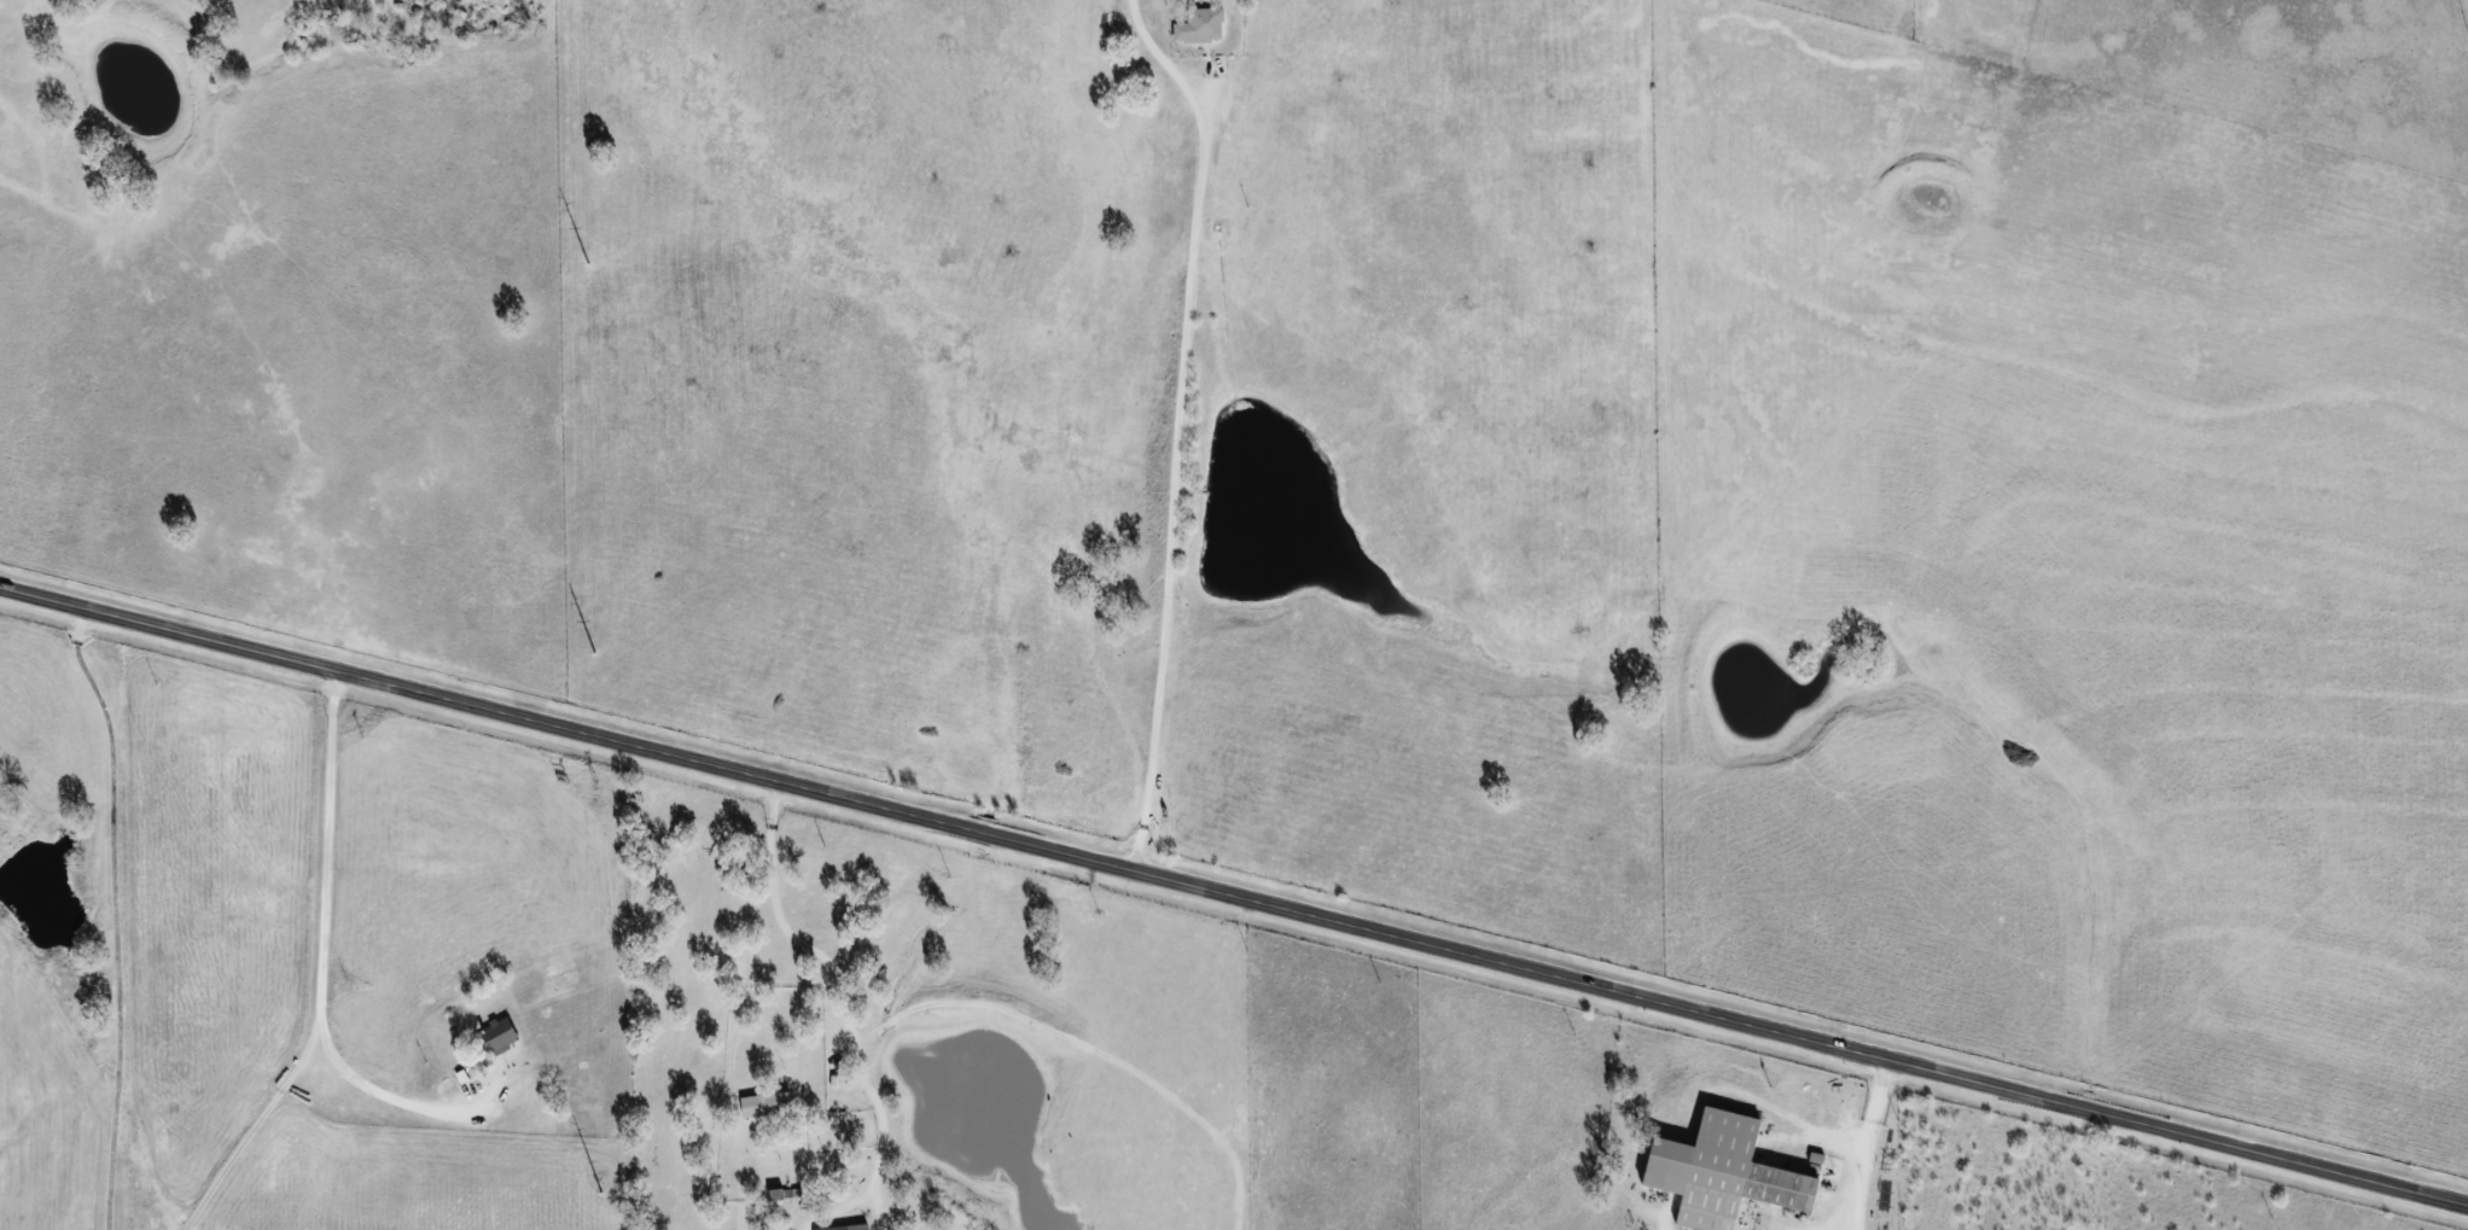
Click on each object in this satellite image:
building: (1200, 25)
power tower: (588, 264)
road: (1175, 424)
power tower: (594, 654)
road: (1234, 896)
road: (115, 915)
road: (746, 925)
road: (584, 952)
road: (318, 955)
building: (496, 1036)
building: (766, 1104)
road: (1862, 1143)
building: (1719, 1173)
power tower: (601, 1194)
building: (849, 1226)

